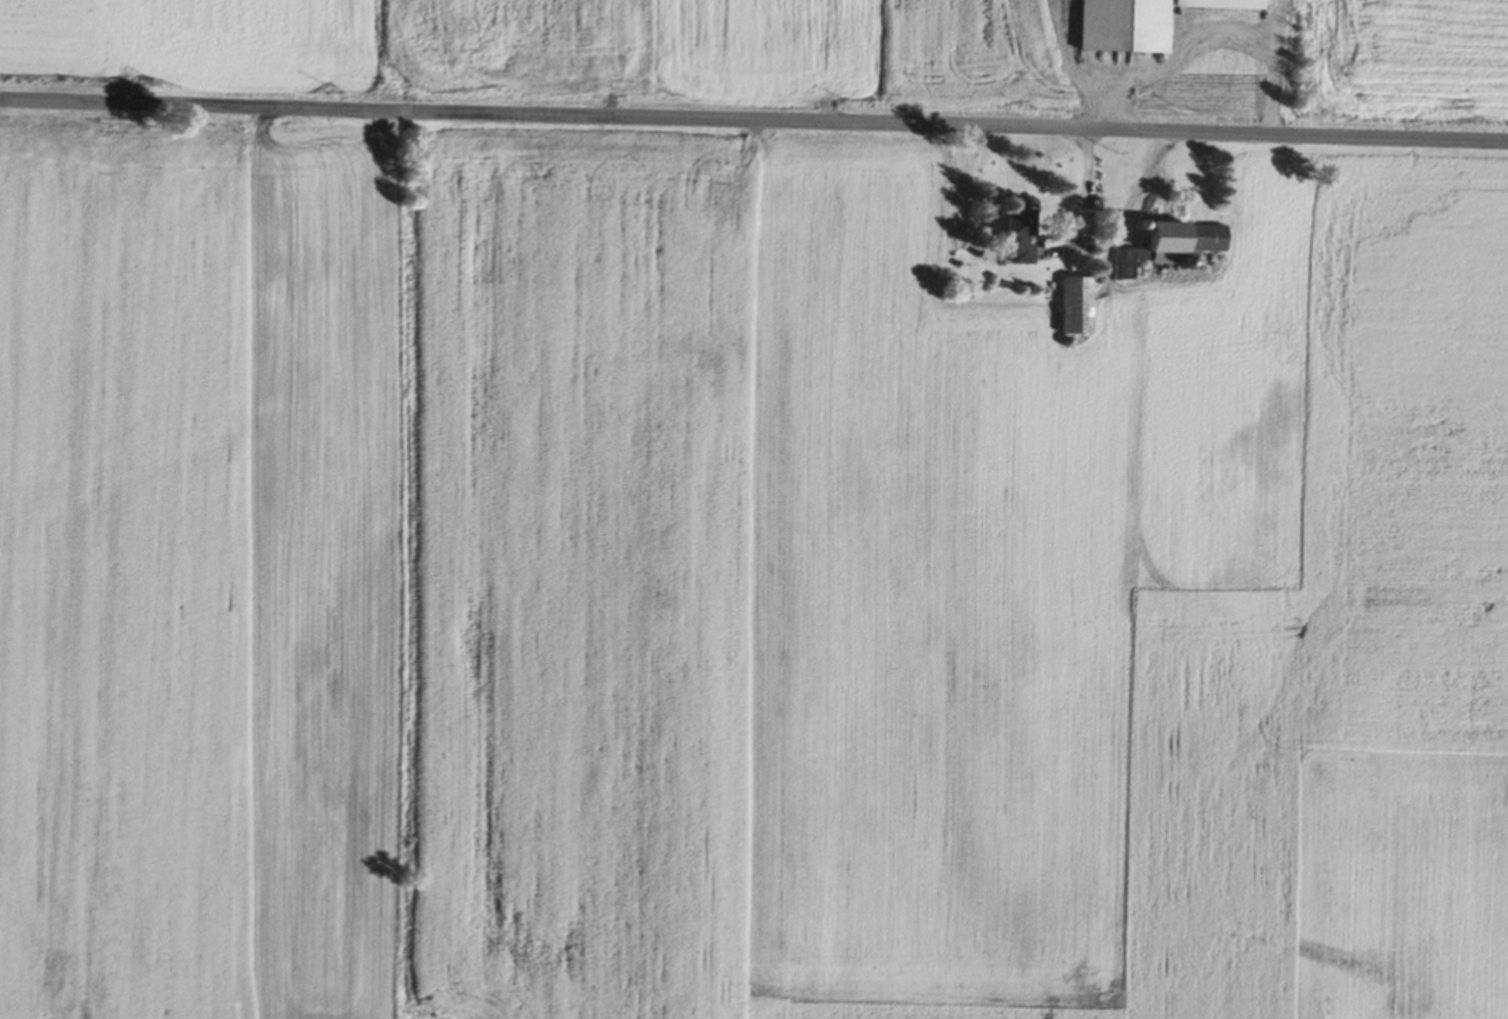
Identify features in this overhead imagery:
road: (753, 120)
building: (1008, 237)
building: (1162, 244)
building: (1070, 305)

